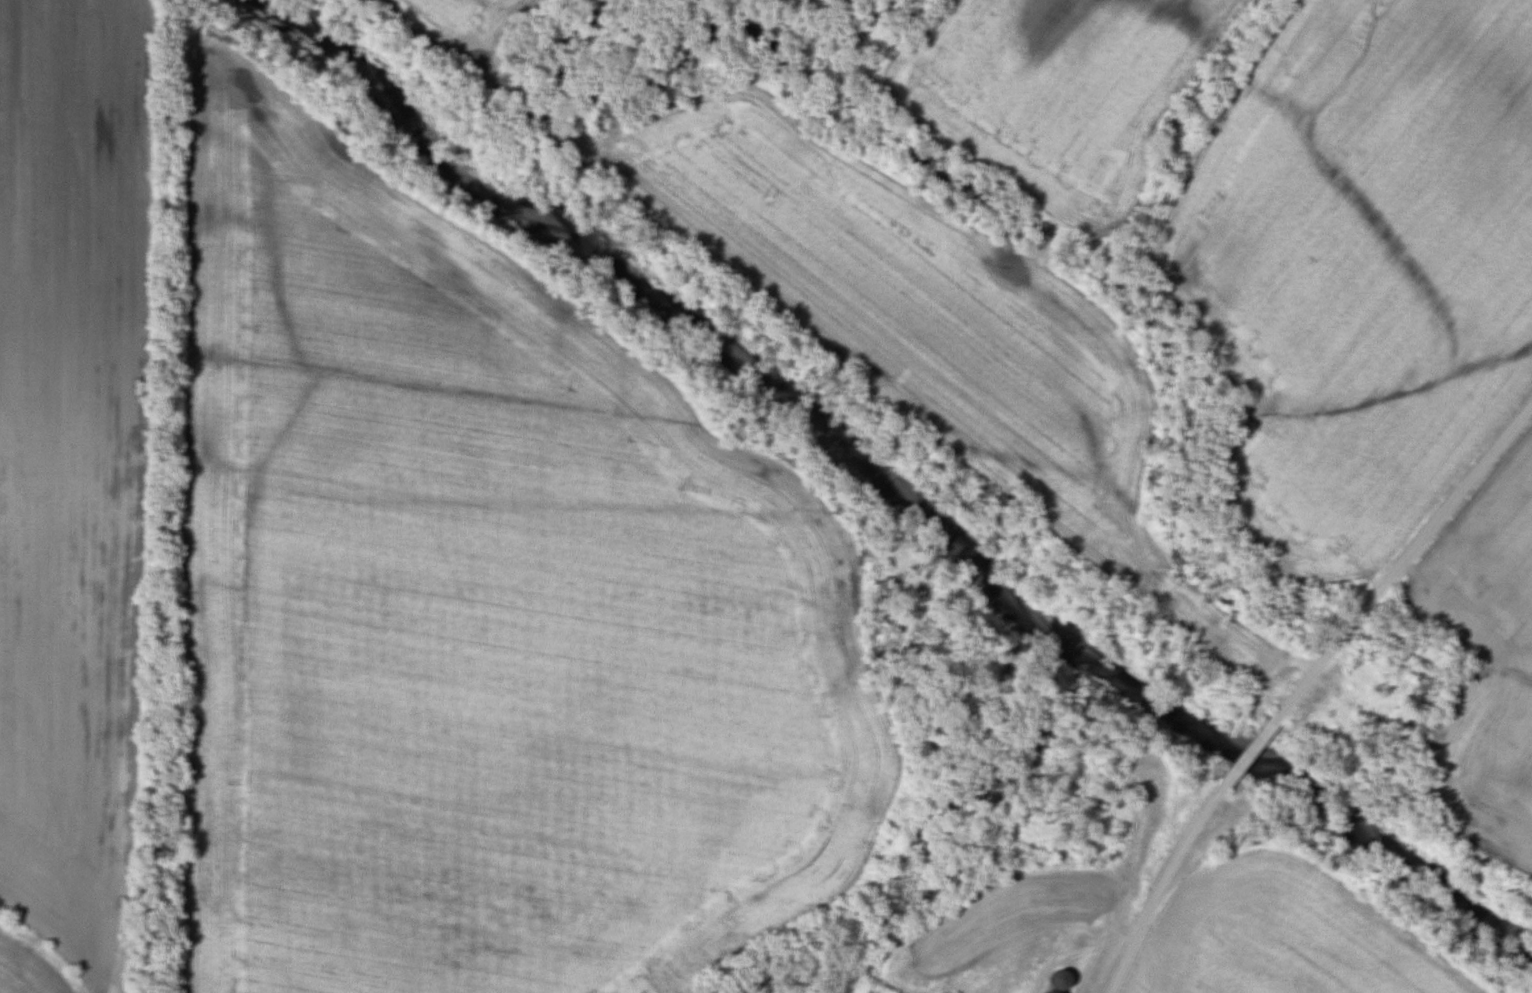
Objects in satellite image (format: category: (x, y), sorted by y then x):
road: (1304, 687)
building: (1059, 980)
building: (870, 989)
building: (1051, 991)

